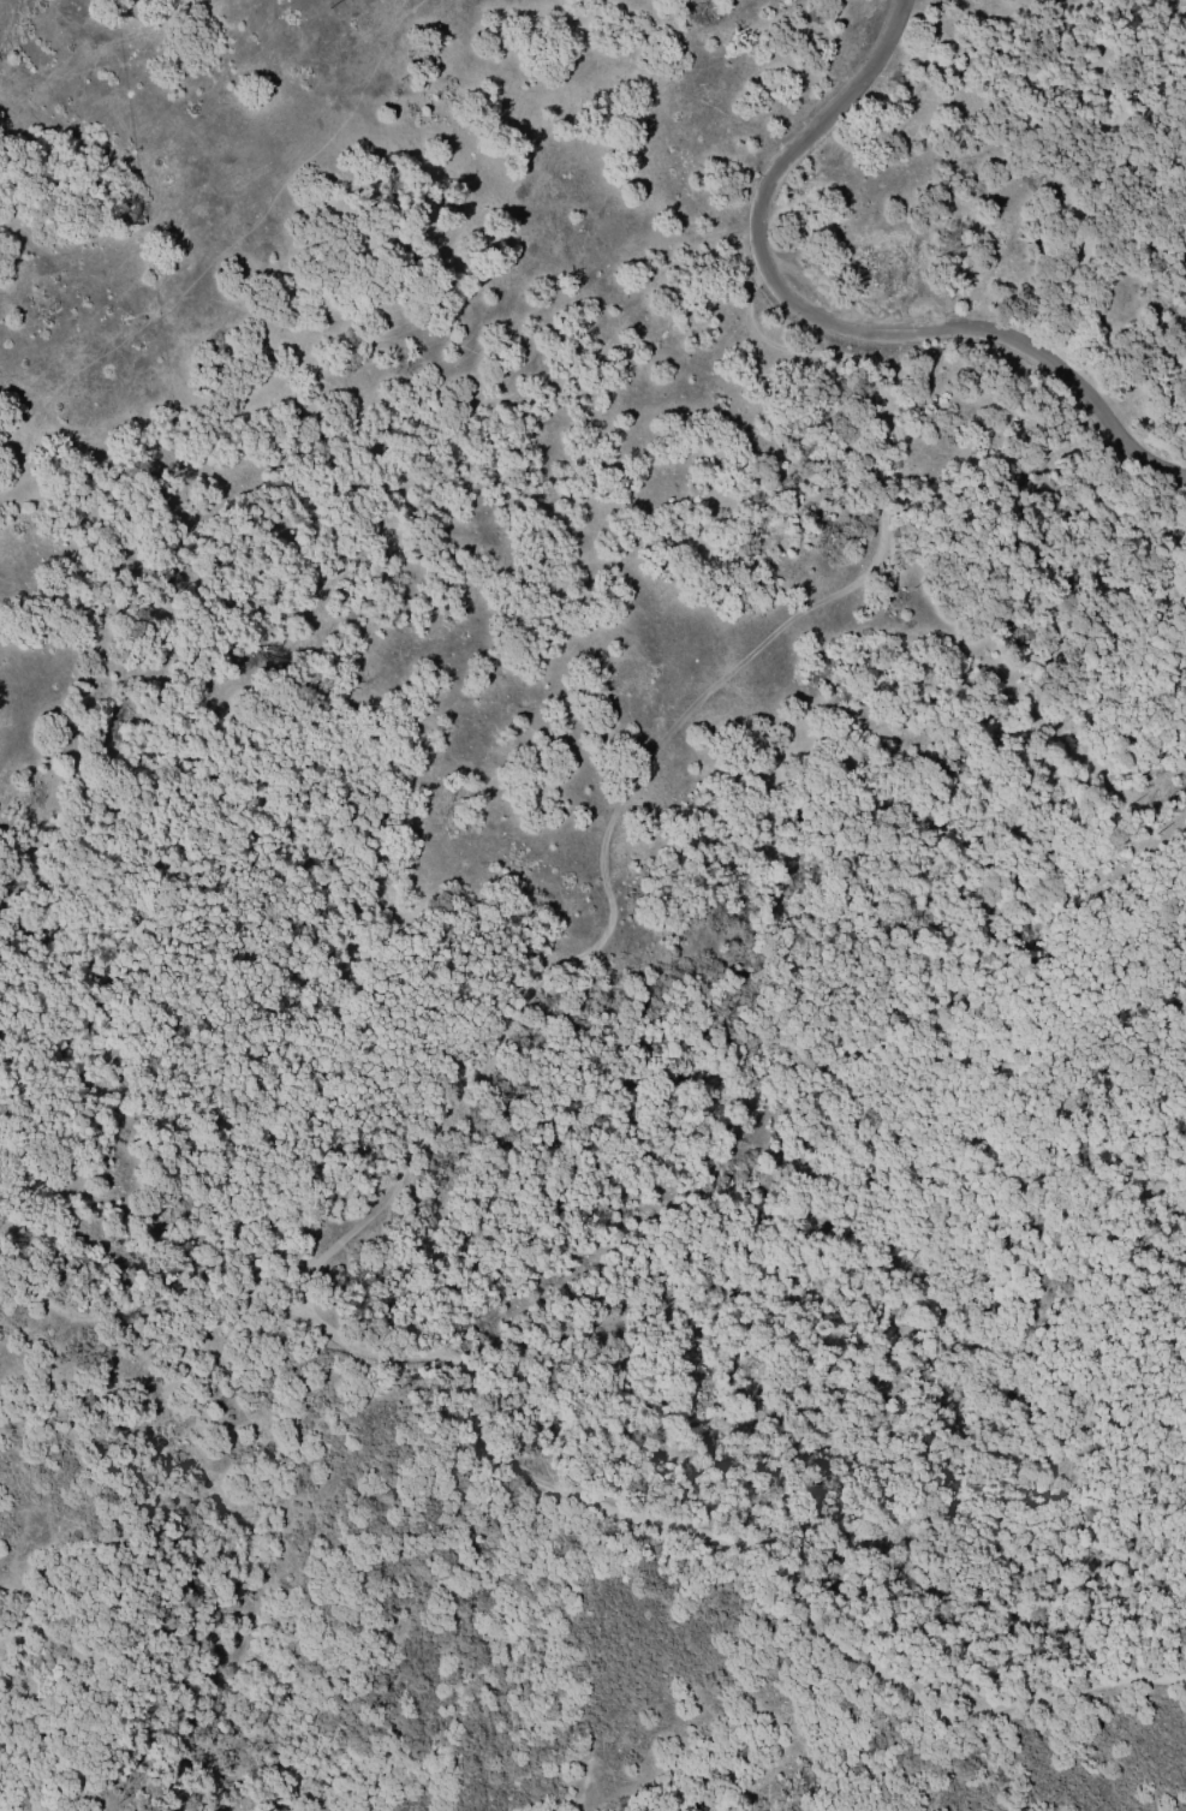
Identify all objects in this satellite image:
road: (225, 252)
road: (835, 320)
road: (397, 1186)
road: (145, 1304)
road: (421, 1418)

